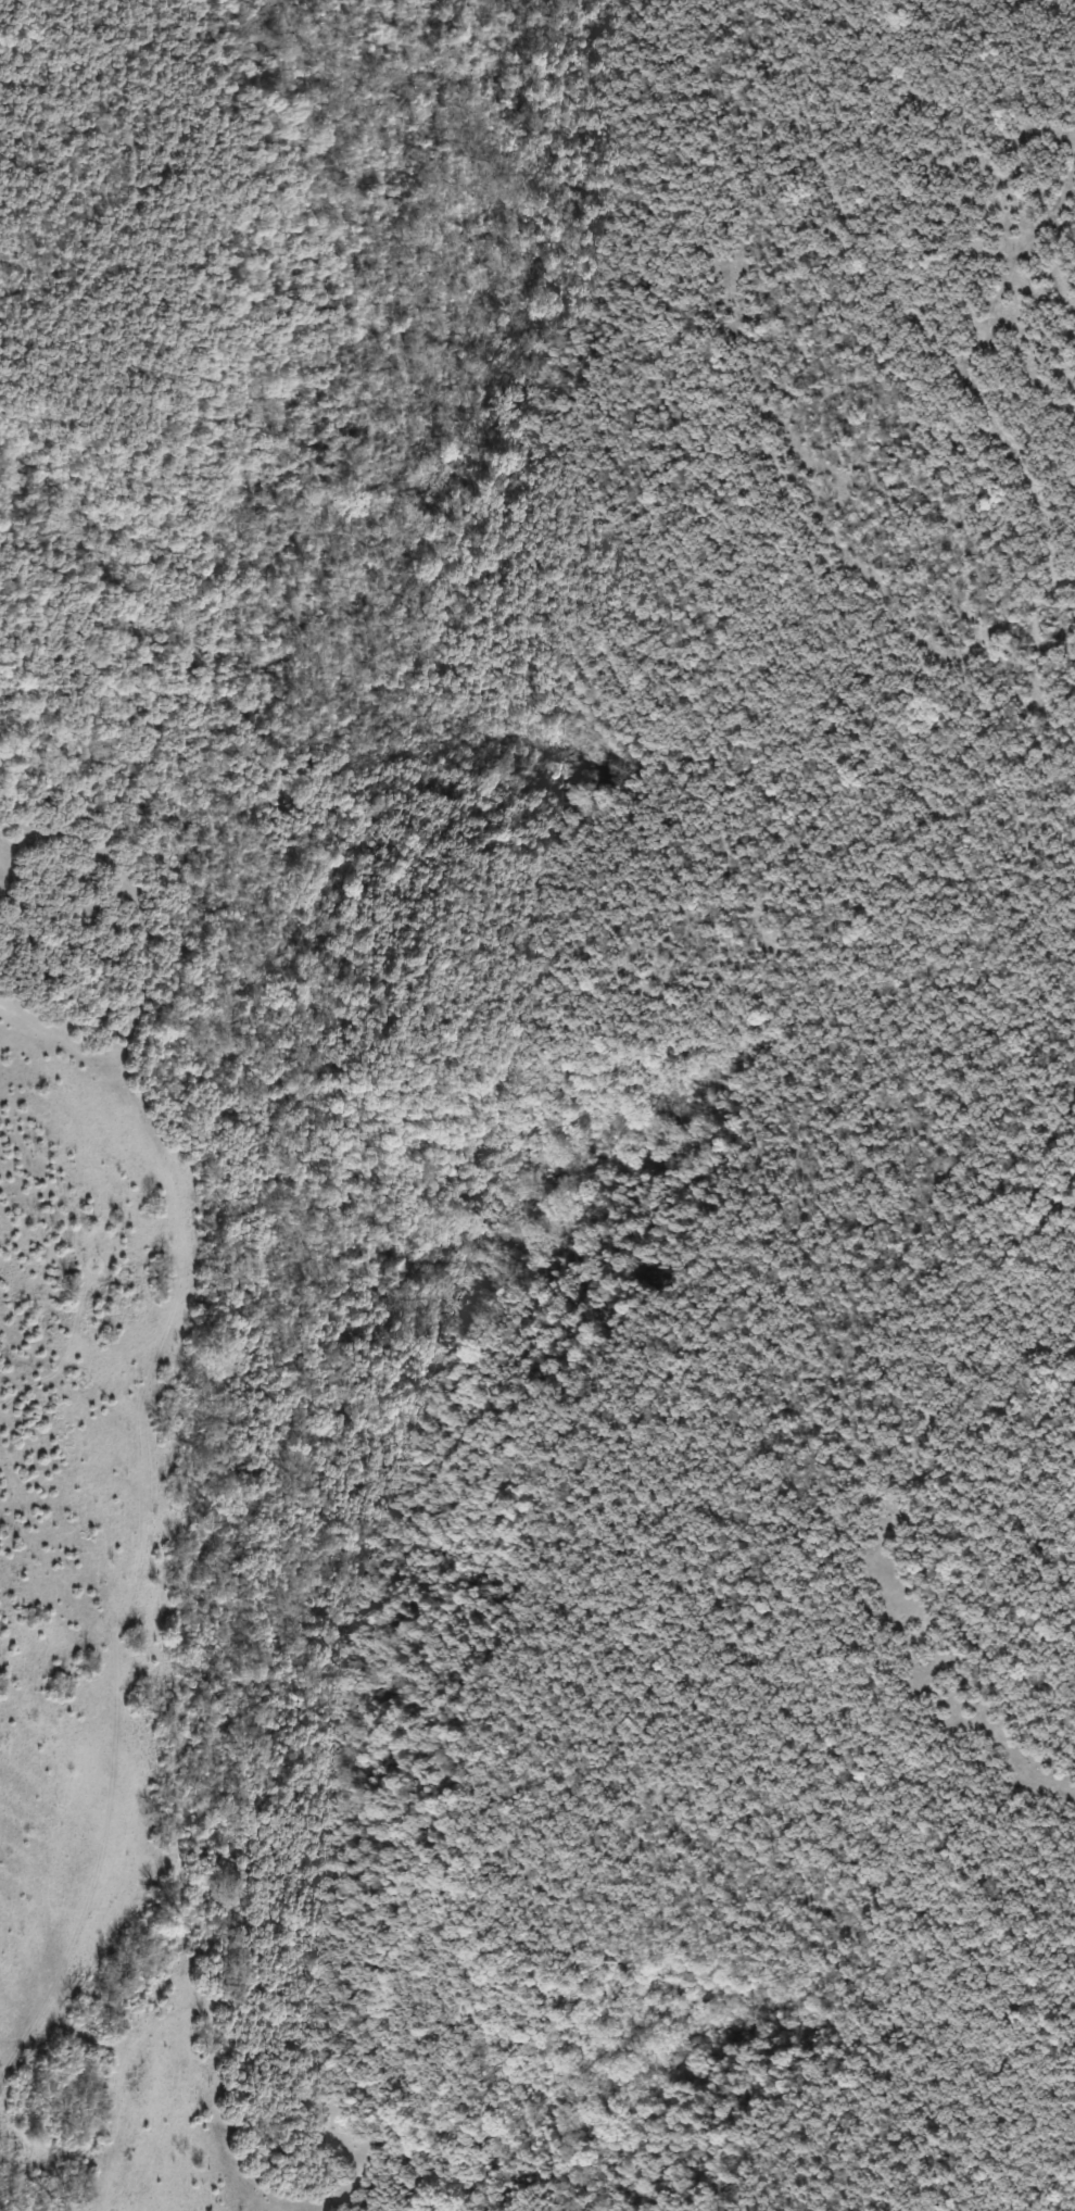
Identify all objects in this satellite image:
road: (1004, 492)

